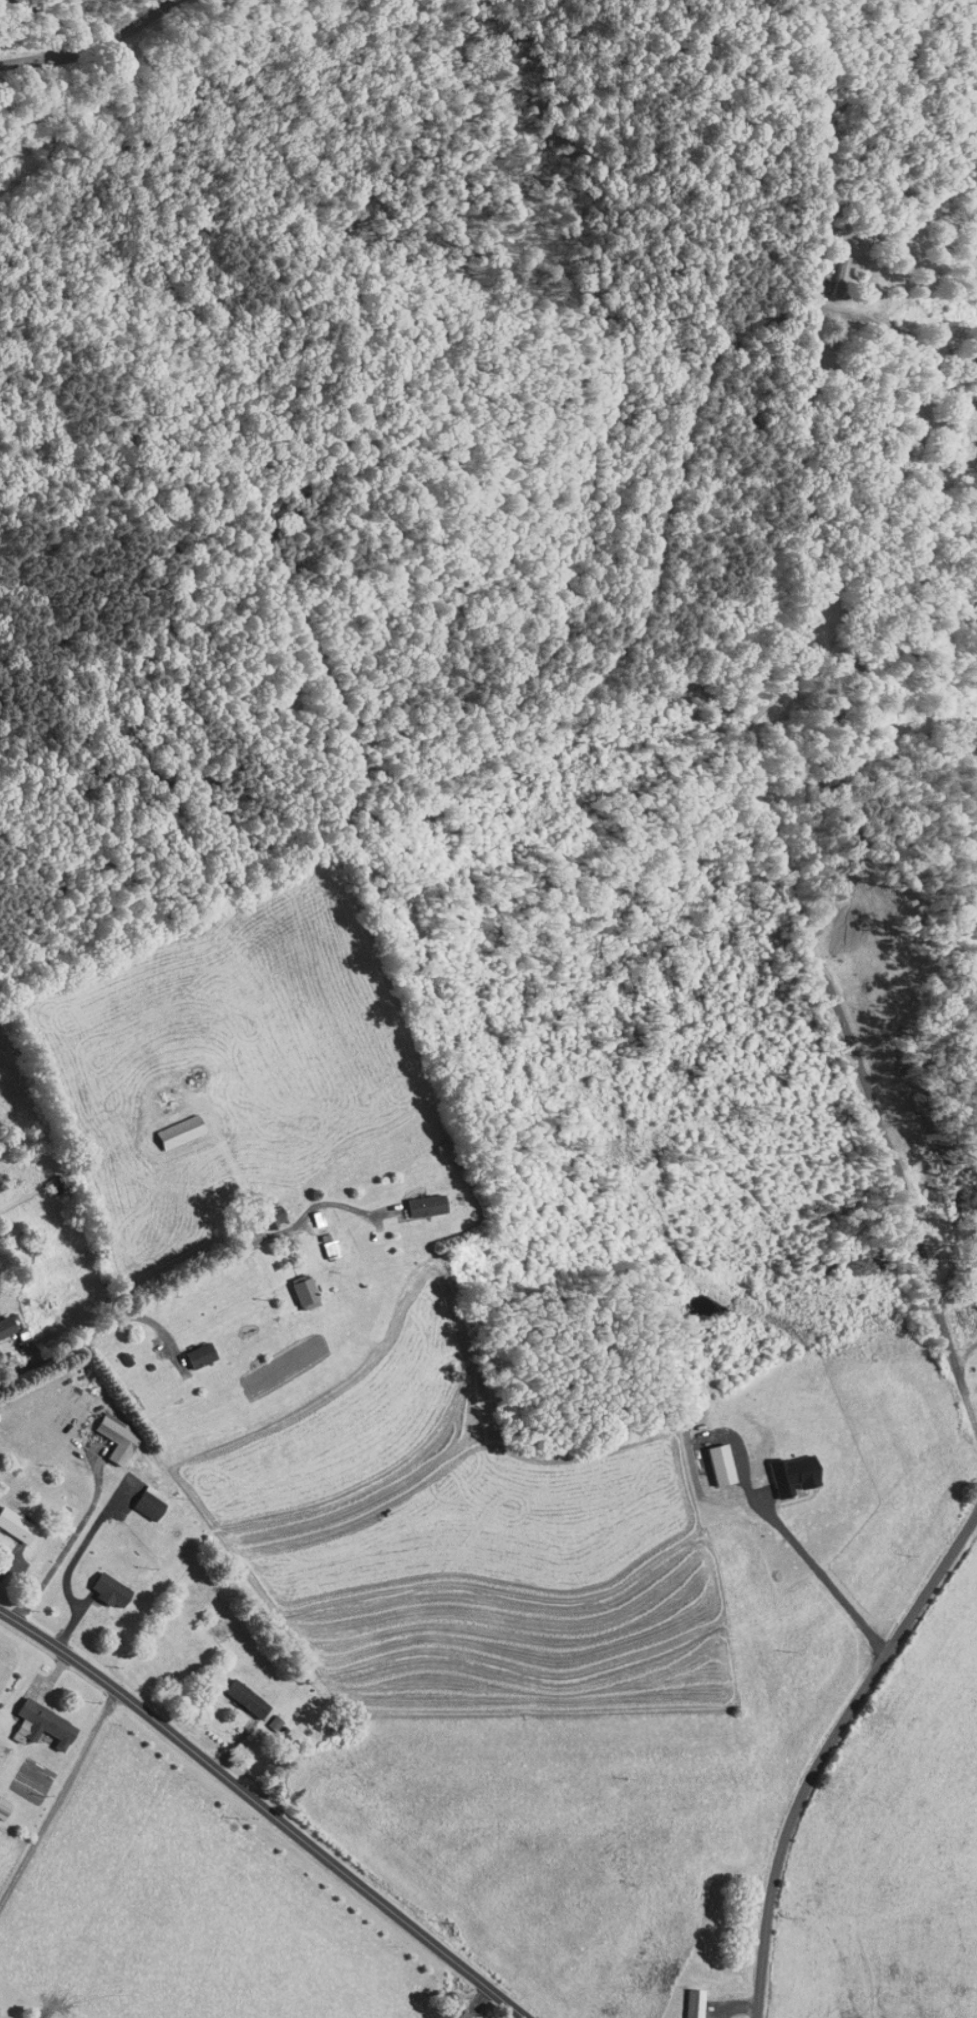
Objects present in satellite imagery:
road: (52, 19)
road: (93, 46)
building: (829, 262)
road: (915, 343)
building: (171, 1125)
building: (418, 1199)
road: (311, 1208)
building: (268, 1209)
building: (322, 1242)
building: (296, 1285)
road: (118, 1315)
building: (3, 1319)
building: (191, 1349)
building: (109, 1432)
building: (713, 1458)
building: (786, 1468)
building: (141, 1496)
building: (11, 1521)
road: (822, 1574)
building: (101, 1583)
building: (238, 1692)
building: (265, 1716)
building: (35, 1719)
road: (827, 1752)
road: (58, 1804)
road: (262, 1812)
building: (686, 1999)
building: (456, 2012)
building: (472, 2017)

